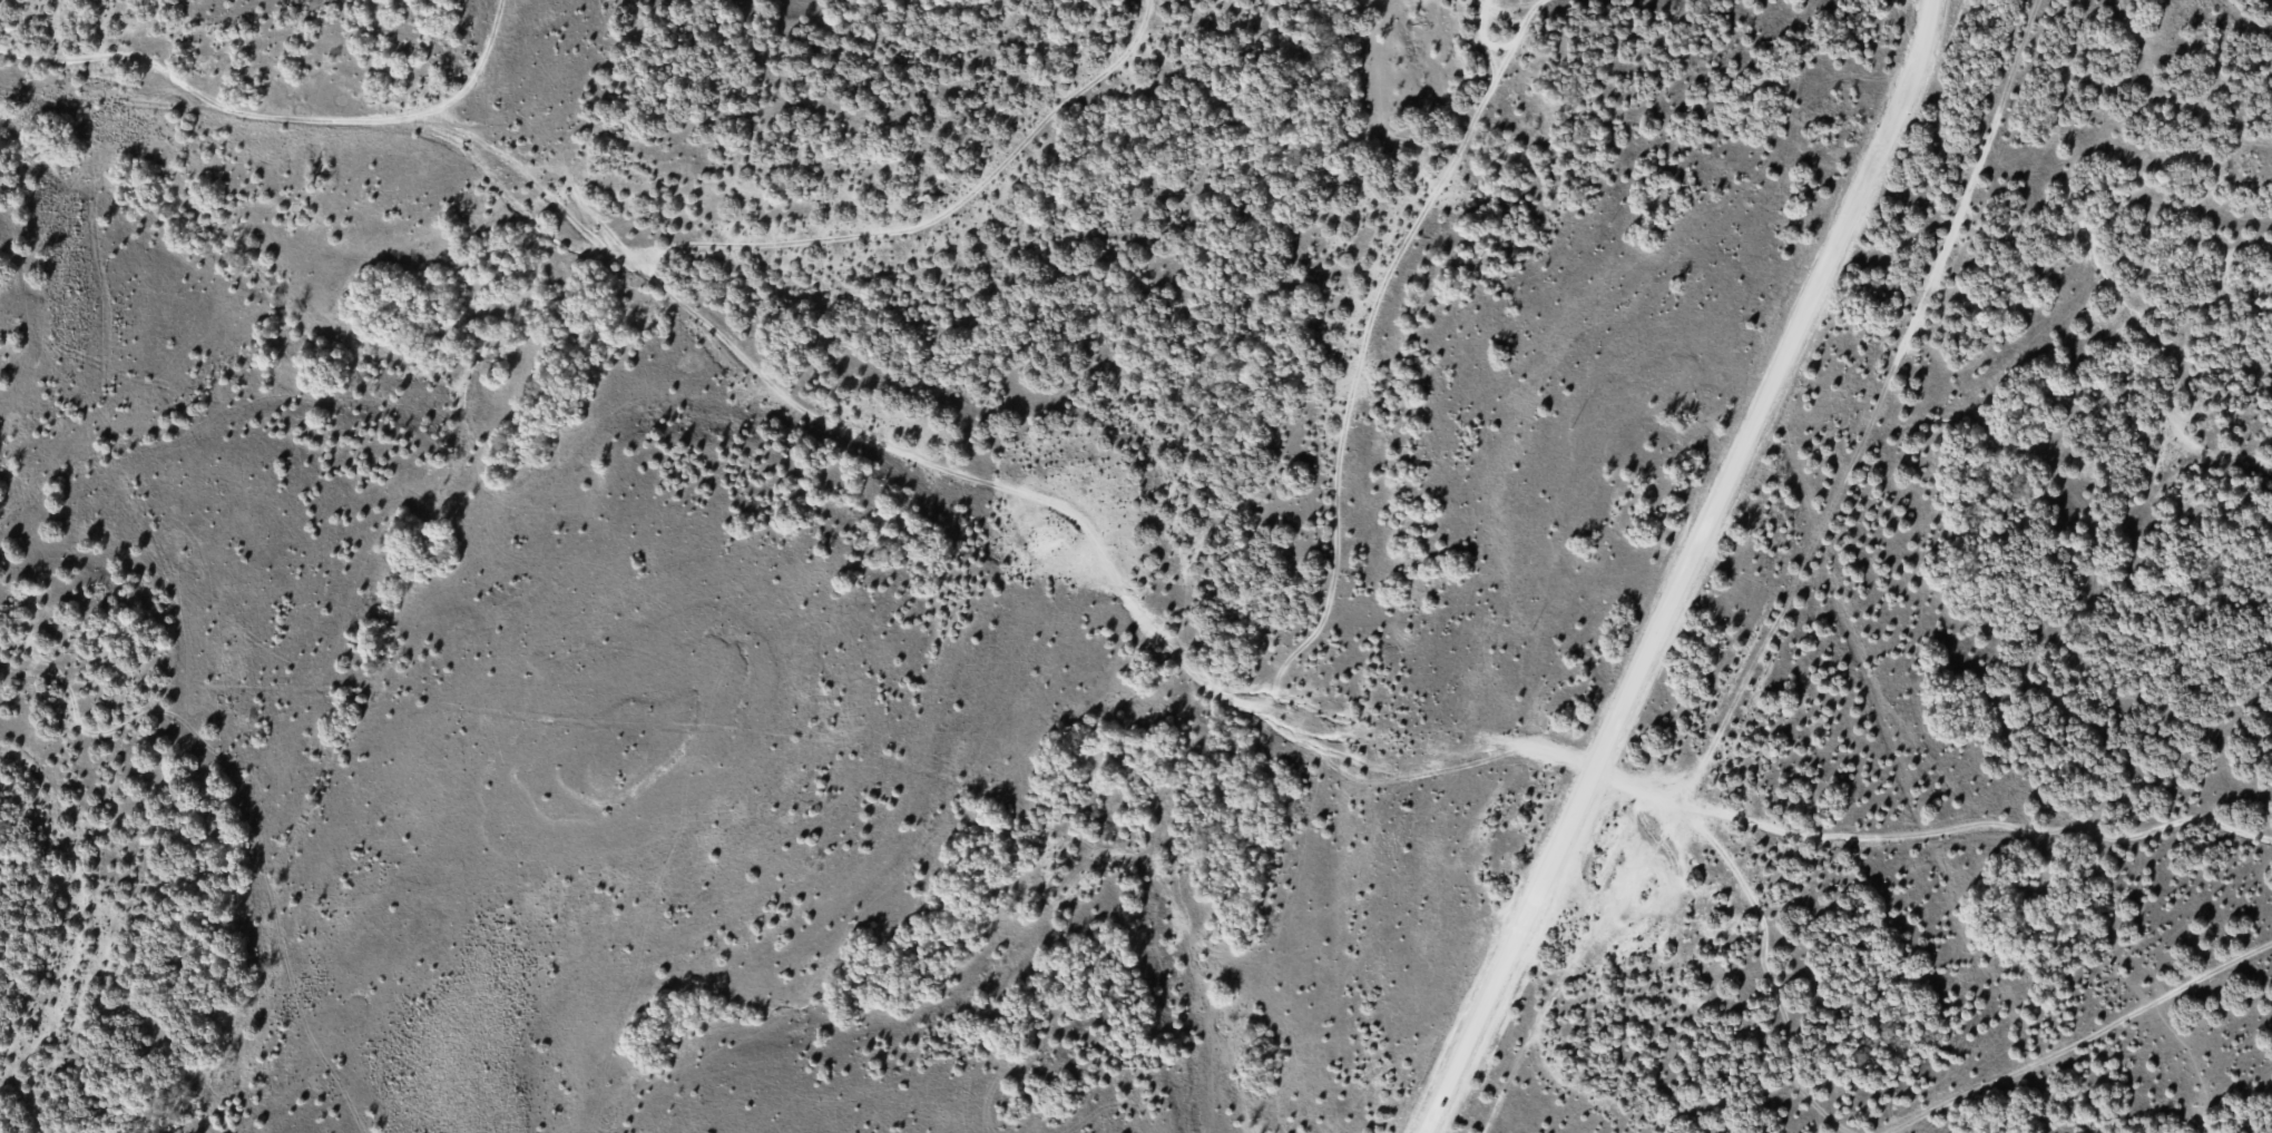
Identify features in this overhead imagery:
road: (1686, 570)

